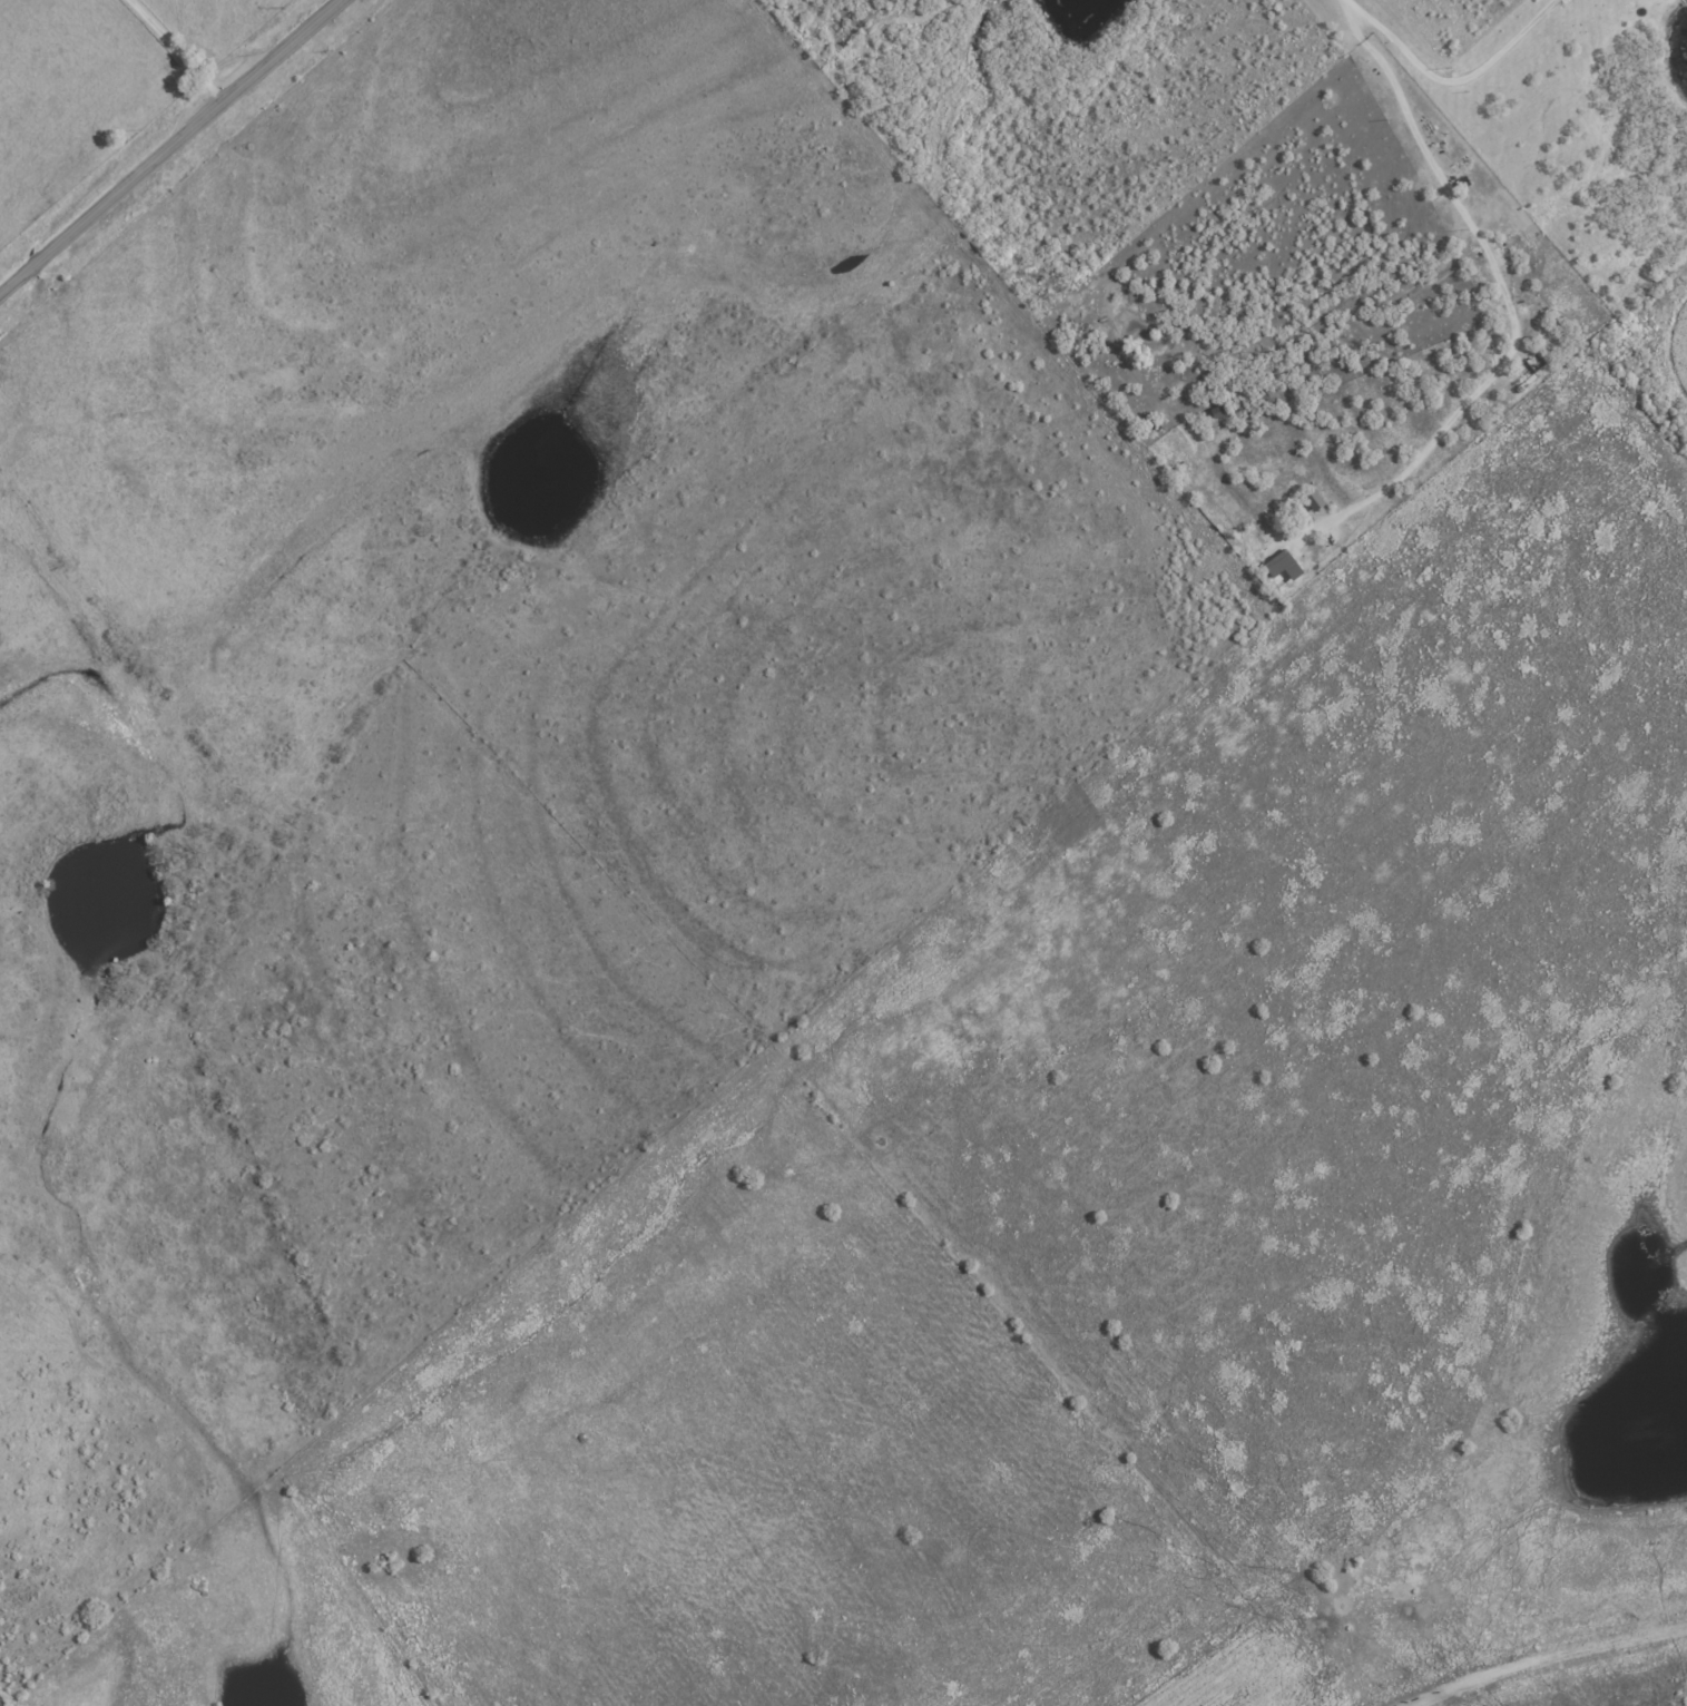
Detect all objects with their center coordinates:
road: (1345, 3)
road: (178, 50)
road: (1454, 85)
road: (173, 148)
road: (1505, 301)
building: (1313, 500)
building: (1283, 569)

